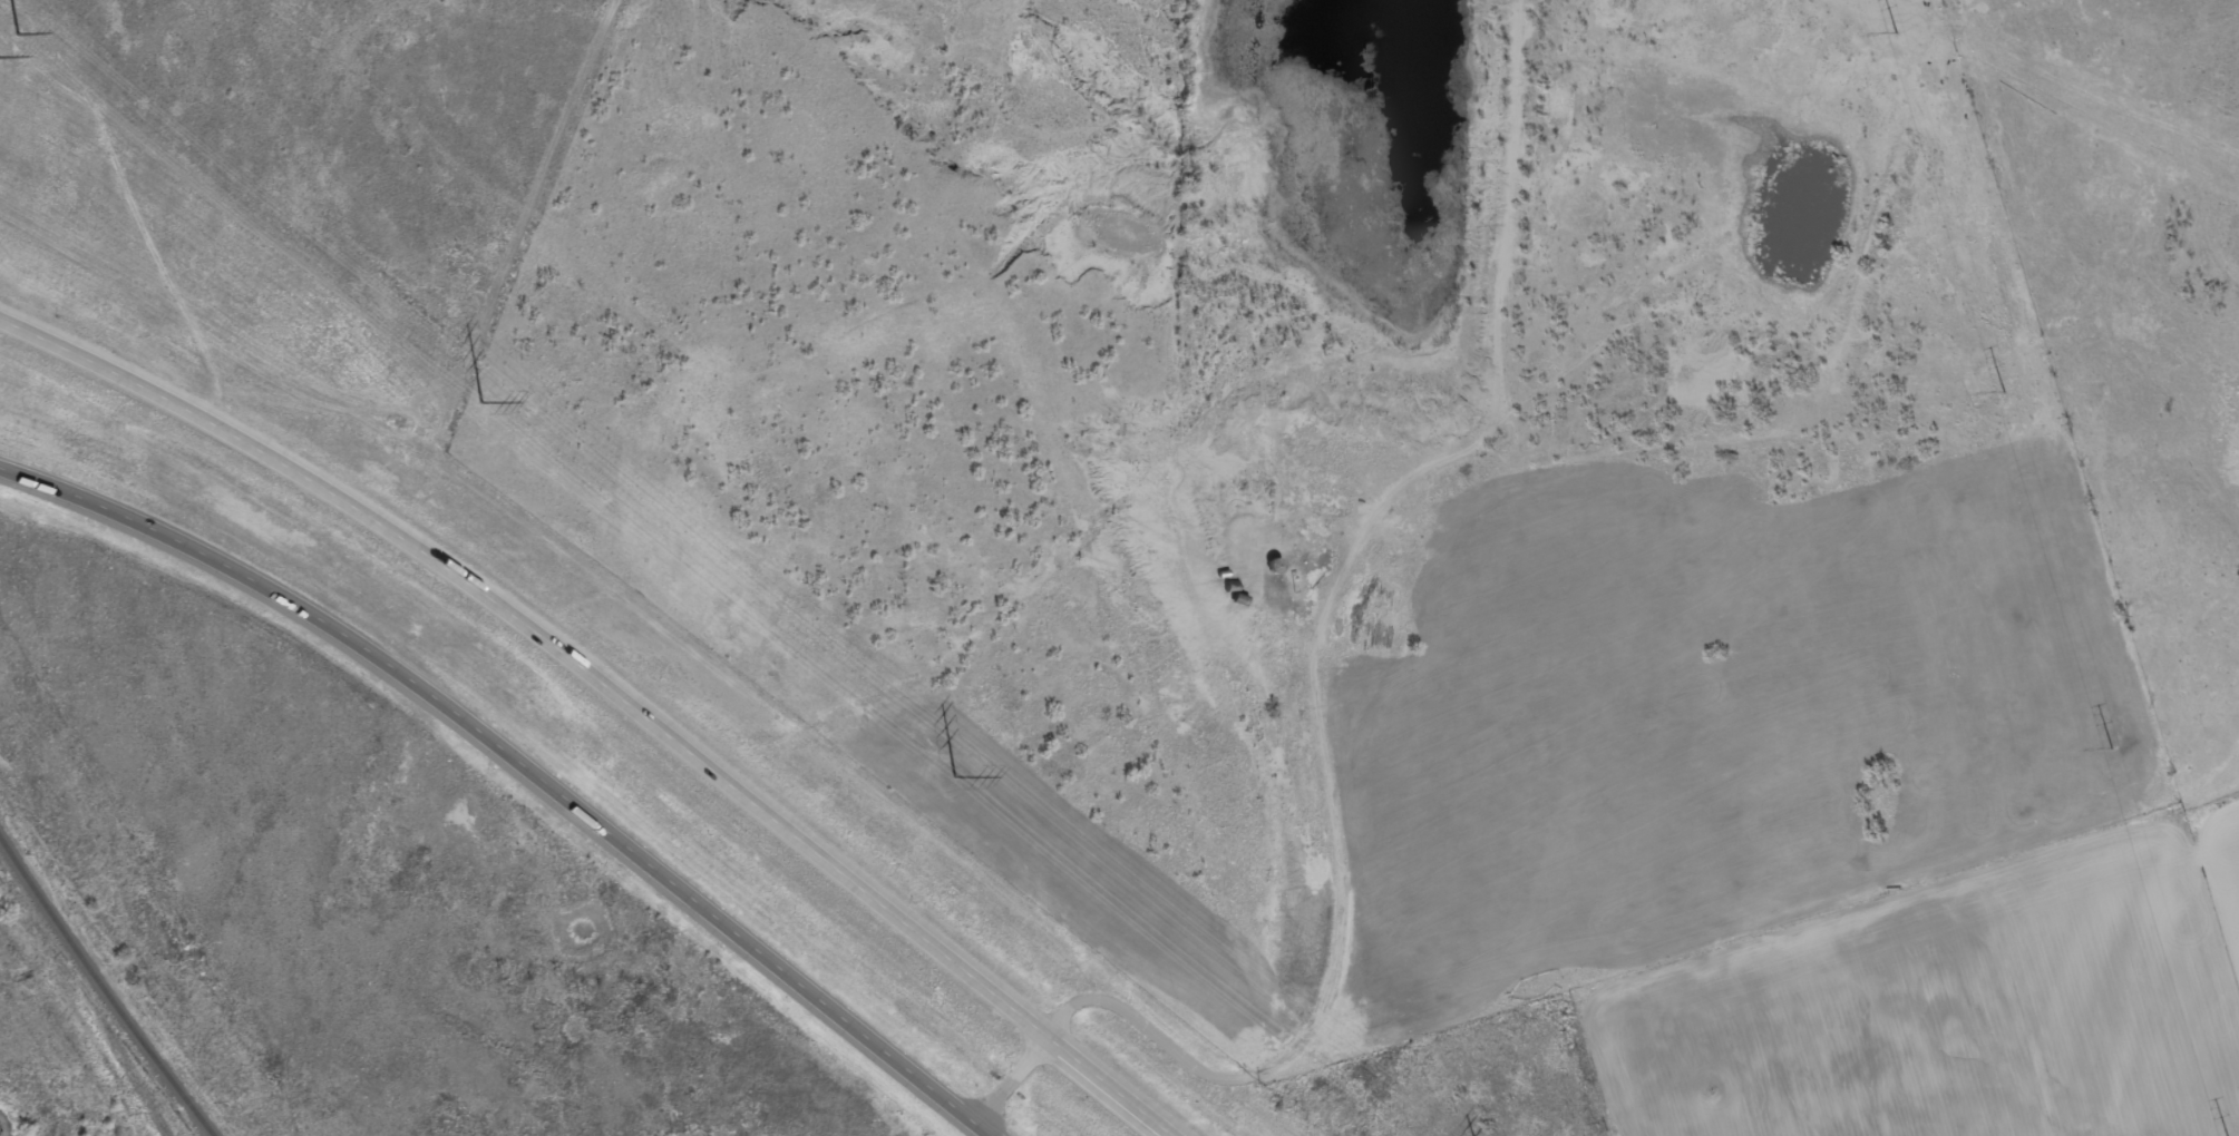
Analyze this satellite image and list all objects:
power tower: (1897, 31)
power tower: (10, 43)
power tower: (2005, 391)
power tower: (483, 395)
road: (611, 689)
power tower: (2112, 746)
road: (522, 763)
power tower: (952, 774)
road: (1338, 907)
railway: (104, 988)
road: (1012, 1079)

